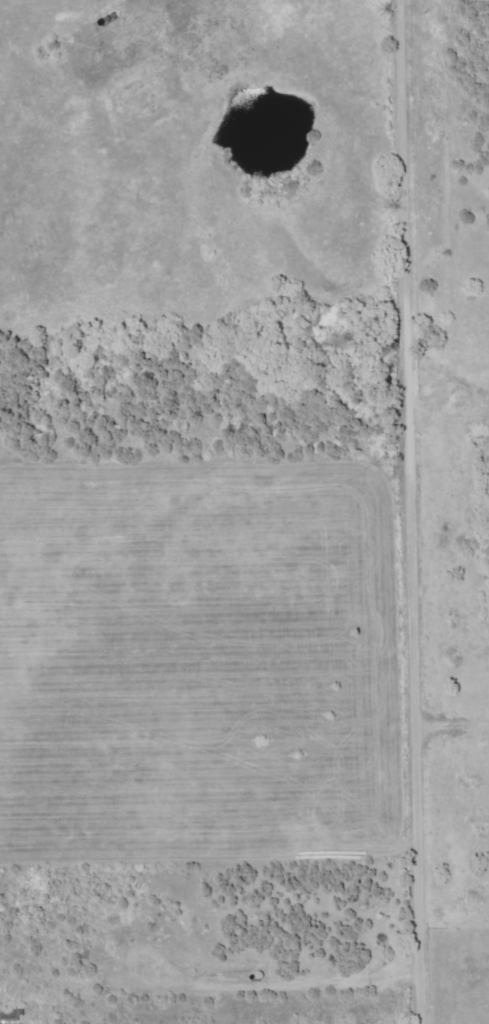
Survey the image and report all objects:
road: (408, 512)

